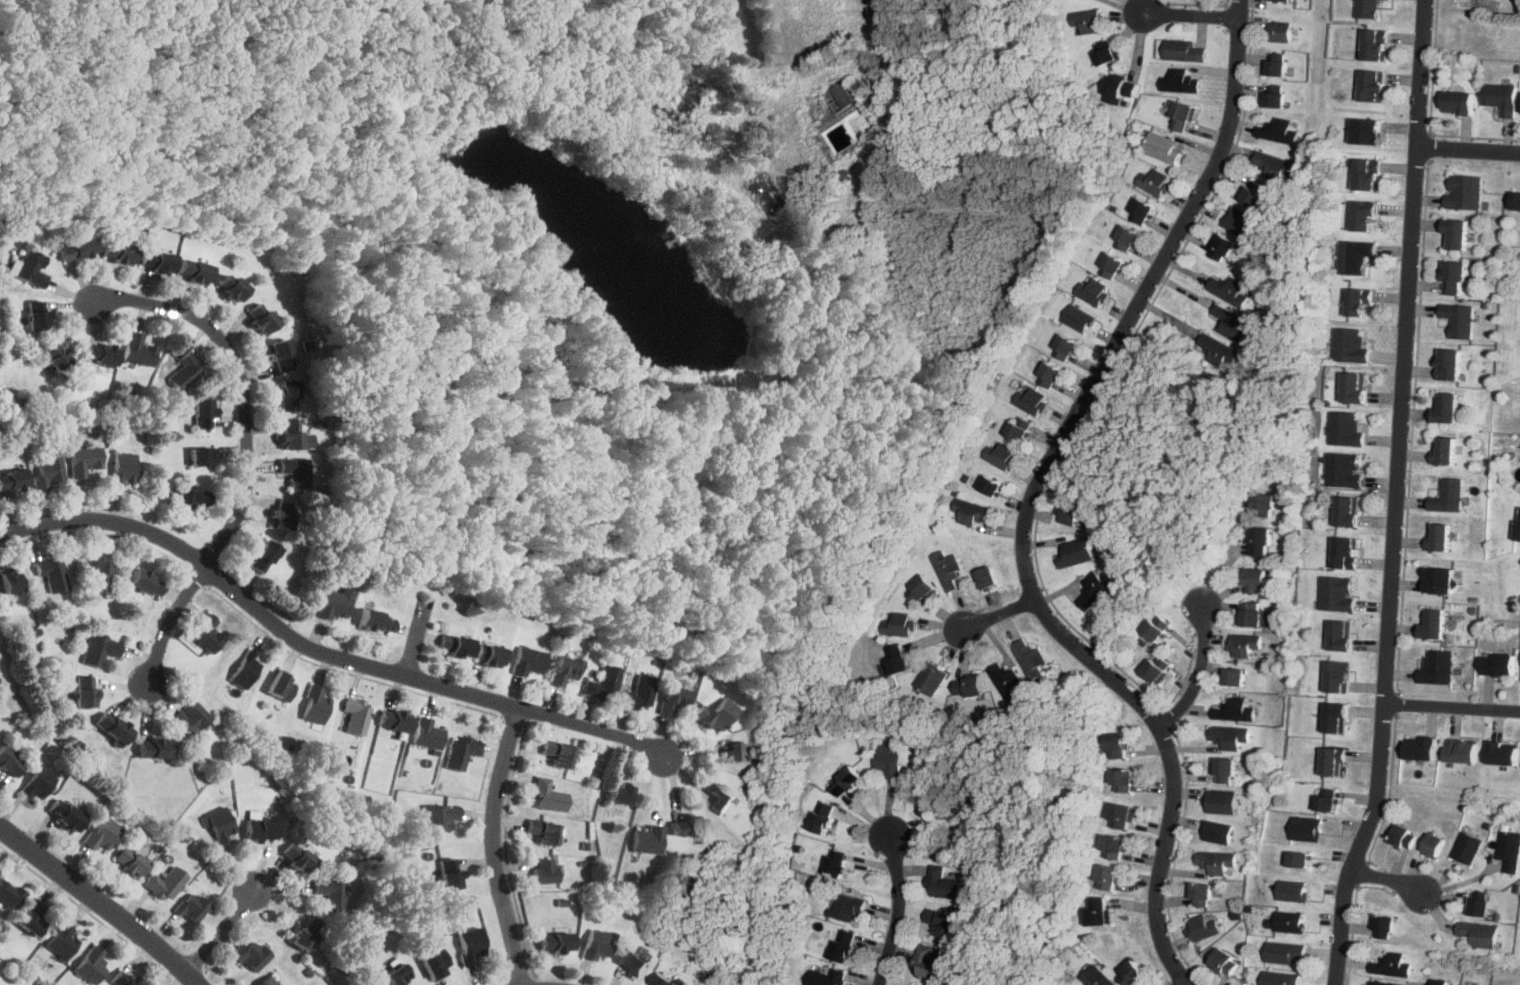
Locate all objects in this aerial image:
building: (1282, 0)
road: (1120, 5)
building: (1367, 9)
road: (1186, 15)
building: (1089, 20)
building: (1278, 31)
building: (1373, 45)
building: (1183, 50)
building: (1108, 51)
building: (1275, 65)
building: (1182, 81)
building: (1372, 85)
building: (1122, 86)
building: (1501, 97)
building: (1273, 100)
building: (1457, 101)
building: (1184, 115)
building: (1277, 130)
building: (1366, 130)
building: (1165, 148)
road: (1468, 151)
building: (1272, 166)
building: (1369, 173)
building: (1156, 182)
building: (1464, 191)
building: (1255, 194)
building: (1515, 199)
building: (1139, 209)
building: (1367, 215)
building: (1240, 221)
building: (1455, 234)
building: (1123, 237)
building: (1225, 245)
building: (77, 247)
building: (120, 251)
building: (1356, 255)
building: (158, 259)
building: (1109, 264)
building: (29, 267)
building: (195, 269)
building: (1453, 277)
building: (233, 286)
building: (1231, 289)
building: (1093, 291)
building: (1361, 301)
building: (38, 314)
building: (262, 317)
building: (1080, 317)
building: (1458, 319)
building: (1231, 323)
building: (1067, 345)
building: (1351, 345)
building: (138, 349)
building: (1217, 349)
building: (101, 352)
building: (57, 354)
building: (281, 354)
building: (1447, 364)
building: (186, 370)
building: (1053, 374)
building: (1356, 387)
building: (289, 394)
building: (1032, 400)
building: (1445, 407)
building: (203, 412)
building: (380, 416)
building: (1346, 429)
building: (1020, 431)
building: (295, 435)
road: (248, 449)
building: (1444, 450)
building: (203, 455)
building: (1001, 455)
building: (84, 459)
building: (123, 468)
building: (1344, 469)
building: (295, 470)
building: (48, 472)
building: (13, 479)
building: (987, 485)
road: (1402, 495)
building: (1447, 496)
building: (189, 497)
road: (1037, 500)
building: (1264, 504)
building: (1349, 510)
building: (1071, 511)
building: (973, 512)
building: (283, 513)
building: (1517, 524)
building: (1438, 536)
building: (482, 537)
building: (1260, 541)
building: (526, 550)
building: (1077, 552)
building: (1347, 552)
building: (263, 554)
road: (1226, 558)
building: (948, 569)
building: (51, 572)
building: (99, 572)
building: (991, 578)
building: (1437, 579)
building: (11, 580)
building: (1257, 580)
building: (145, 581)
building: (921, 587)
building: (1097, 587)
building: (1338, 593)
building: (335, 602)
building: (1255, 614)
road: (993, 616)
building: (375, 620)
building: (1432, 623)
building: (900, 624)
building: (1156, 630)
building: (206, 632)
building: (1342, 635)
road: (414, 642)
building: (1244, 644)
building: (456, 645)
building: (100, 649)
road: (324, 649)
building: (490, 654)
building: (899, 659)
building: (1031, 659)
building: (528, 660)
building: (1497, 664)
building: (1437, 667)
building: (565, 668)
building: (245, 669)
building: (1156, 670)
road: (1197, 673)
building: (1339, 676)
building: (1234, 677)
building: (931, 678)
building: (1007, 681)
building: (604, 682)
building: (282, 686)
building: (971, 686)
building: (85, 690)
building: (640, 691)
building: (674, 698)
building: (315, 705)
building: (1233, 710)
road: (1456, 710)
building: (717, 713)
building: (357, 714)
building: (193, 716)
building: (1337, 717)
building: (395, 718)
building: (114, 726)
building: (427, 733)
building: (1229, 736)
building: (1121, 746)
building: (155, 747)
building: (1420, 749)
building: (461, 751)
building: (740, 751)
building: (1461, 751)
building: (558, 752)
building: (1502, 753)
building: (890, 758)
building: (7, 760)
building: (1332, 761)
building: (1225, 770)
building: (1120, 779)
building: (848, 780)
building: (37, 783)
building: (1328, 792)
building: (621, 793)
building: (548, 796)
building: (723, 798)
building: (1222, 801)
building: (1329, 802)
building: (66, 814)
building: (1120, 814)
building: (439, 816)
building: (824, 816)
building: (220, 823)
building: (689, 826)
building: (260, 828)
building: (1307, 829)
building: (544, 831)
building: (1217, 832)
building: (103, 833)
building: (1401, 835)
building: (647, 839)
road: (495, 844)
building: (1111, 845)
building: (1432, 845)
building: (1466, 848)
building: (1509, 851)
building: (298, 856)
building: (1301, 859)
building: (1215, 861)
building: (131, 862)
building: (840, 863)
building: (546, 870)
building: (452, 873)
building: (1107, 875)
road: (1388, 878)
building: (165, 883)
building: (943, 883)
building: (1294, 890)
building: (9, 893)
building: (331, 893)
building: (1202, 895)
road: (102, 900)
building: (192, 906)
building: (848, 906)
road: (897, 906)
building: (1478, 907)
building: (1102, 911)
building: (32, 918)
building: (1291, 921)
building: (942, 922)
building: (1382, 926)
building: (1203, 927)
road: (222, 929)
building: (307, 933)
building: (1478, 934)
building: (62, 941)
building: (557, 942)
building: (598, 943)
building: (470, 944)
building: (846, 945)
building: (1287, 952)
building: (252, 954)
building: (1226, 960)
building: (436, 963)
building: (636, 963)
building: (929, 964)
building: (91, 965)
building: (1391, 965)
building: (1135, 973)
building: (397, 975)
building: (826, 977)
building: (1099, 977)
building: (124, 978)
building: (1281, 978)
building: (662, 979)
building: (268, 981)
building: (1381, 983)
building: (1441, 983)
building: (911, 984)
building: (914, 984)
road: (1185, 984)

